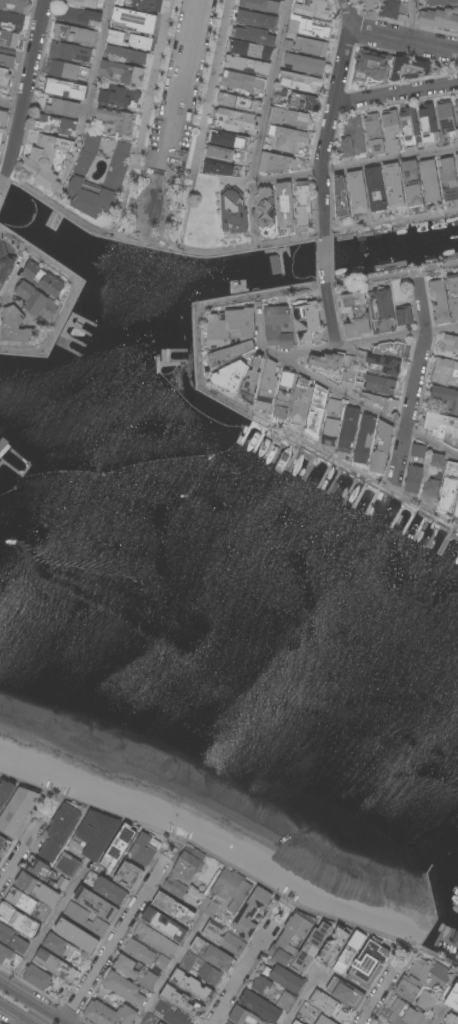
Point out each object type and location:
building: (441, 2)
building: (89, 3)
building: (140, 4)
building: (14, 5)
building: (261, 5)
building: (383, 7)
building: (312, 8)
building: (78, 16)
building: (137, 19)
building: (439, 19)
building: (12, 20)
building: (258, 20)
road: (412, 20)
building: (309, 28)
building: (76, 35)
building: (255, 36)
building: (9, 38)
building: (130, 40)
road: (404, 40)
building: (289, 46)
building: (312, 47)
building: (250, 50)
building: (71, 53)
building: (129, 54)
building: (7, 56)
building: (305, 64)
building: (248, 65)
building: (390, 68)
building: (67, 70)
building: (122, 73)
building: (4, 78)
building: (241, 82)
building: (300, 82)
road: (184, 84)
road: (28, 89)
building: (66, 89)
road: (396, 93)
building: (119, 97)
building: (457, 100)
building: (239, 102)
building: (304, 102)
road: (90, 103)
building: (456, 104)
road: (11, 107)
building: (62, 107)
building: (457, 115)
road: (331, 117)
building: (291, 118)
building: (117, 119)
building: (447, 120)
building: (234, 121)
building: (428, 123)
building: (457, 123)
building: (3, 125)
building: (57, 125)
road: (261, 127)
building: (409, 127)
building: (391, 131)
building: (374, 134)
building: (288, 137)
building: (229, 140)
building: (352, 140)
building: (226, 154)
building: (457, 158)
building: (45, 159)
building: (275, 163)
road: (390, 163)
building: (221, 169)
building: (108, 171)
building: (115, 175)
building: (449, 179)
building: (412, 181)
building: (430, 181)
road: (3, 185)
building: (394, 187)
building: (375, 190)
building: (357, 193)
building: (341, 198)
building: (284, 204)
building: (303, 204)
road: (252, 208)
building: (265, 209)
park: (154, 210)
building: (233, 212)
road: (109, 230)
road: (344, 233)
road: (326, 261)
building: (5, 265)
building: (44, 280)
road: (65, 280)
road: (335, 284)
building: (453, 294)
building: (36, 301)
building: (440, 302)
building: (0, 309)
building: (382, 311)
building: (355, 315)
road: (331, 316)
building: (403, 316)
building: (306, 322)
building: (230, 326)
building: (277, 326)
building: (15, 327)
road: (370, 341)
building: (451, 343)
road: (20, 349)
building: (390, 349)
building: (229, 354)
building: (327, 363)
building: (384, 365)
building: (446, 367)
building: (230, 376)
building: (252, 380)
building: (371, 382)
road: (416, 384)
building: (267, 387)
building: (285, 394)
building: (447, 398)
building: (300, 401)
building: (381, 401)
road: (371, 411)
building: (317, 412)
building: (332, 423)
building: (441, 426)
building: (349, 430)
building: (365, 439)
building: (381, 448)
building: (418, 451)
road: (333, 459)
building: (437, 461)
building: (414, 480)
building: (449, 487)
building: (430, 490)
building: (456, 512)
building: (5, 793)
building: (19, 811)
building: (61, 830)
building: (96, 834)
building: (4, 844)
building: (119, 847)
building: (144, 849)
road: (19, 856)
building: (0, 858)
road: (228, 870)
building: (184, 871)
building: (42, 872)
building: (128, 876)
building: (37, 889)
building: (106, 889)
building: (232, 889)
building: (85, 897)
building: (28, 905)
building: (208, 907)
building: (174, 908)
building: (251, 913)
building: (18, 920)
building: (86, 920)
building: (67, 923)
building: (165, 925)
road: (47, 930)
building: (292, 938)
building: (82, 939)
building: (13, 940)
building: (155, 940)
building: (224, 940)
road: (114, 943)
building: (333, 946)
building: (59, 947)
building: (311, 947)
building: (349, 953)
building: (213, 954)
building: (8, 957)
building: (146, 957)
building: (54, 965)
building: (369, 965)
building: (201, 969)
road: (170, 972)
road: (241, 975)
building: (37, 977)
building: (284, 978)
building: (423, 979)
building: (130, 981)
building: (191, 986)
building: (261, 986)
building: (345, 992)
building: (451, 994)
road: (377, 996)
road: (301, 1000)
building: (427, 1001)
building: (181, 1002)
building: (286, 1002)
road: (32, 1003)
building: (260, 1006)
building: (327, 1006)
road: (16, 1013)
building: (108, 1014)
building: (172, 1014)
building: (405, 1014)
building: (244, 1017)
road: (437, 1019)
building: (451, 1019)
building: (324, 1020)
building: (297, 1022)
building: (2, 1023)
building: (158, 1023)
building: (161, 1023)
building: (225, 1023)
building: (228, 1023)

